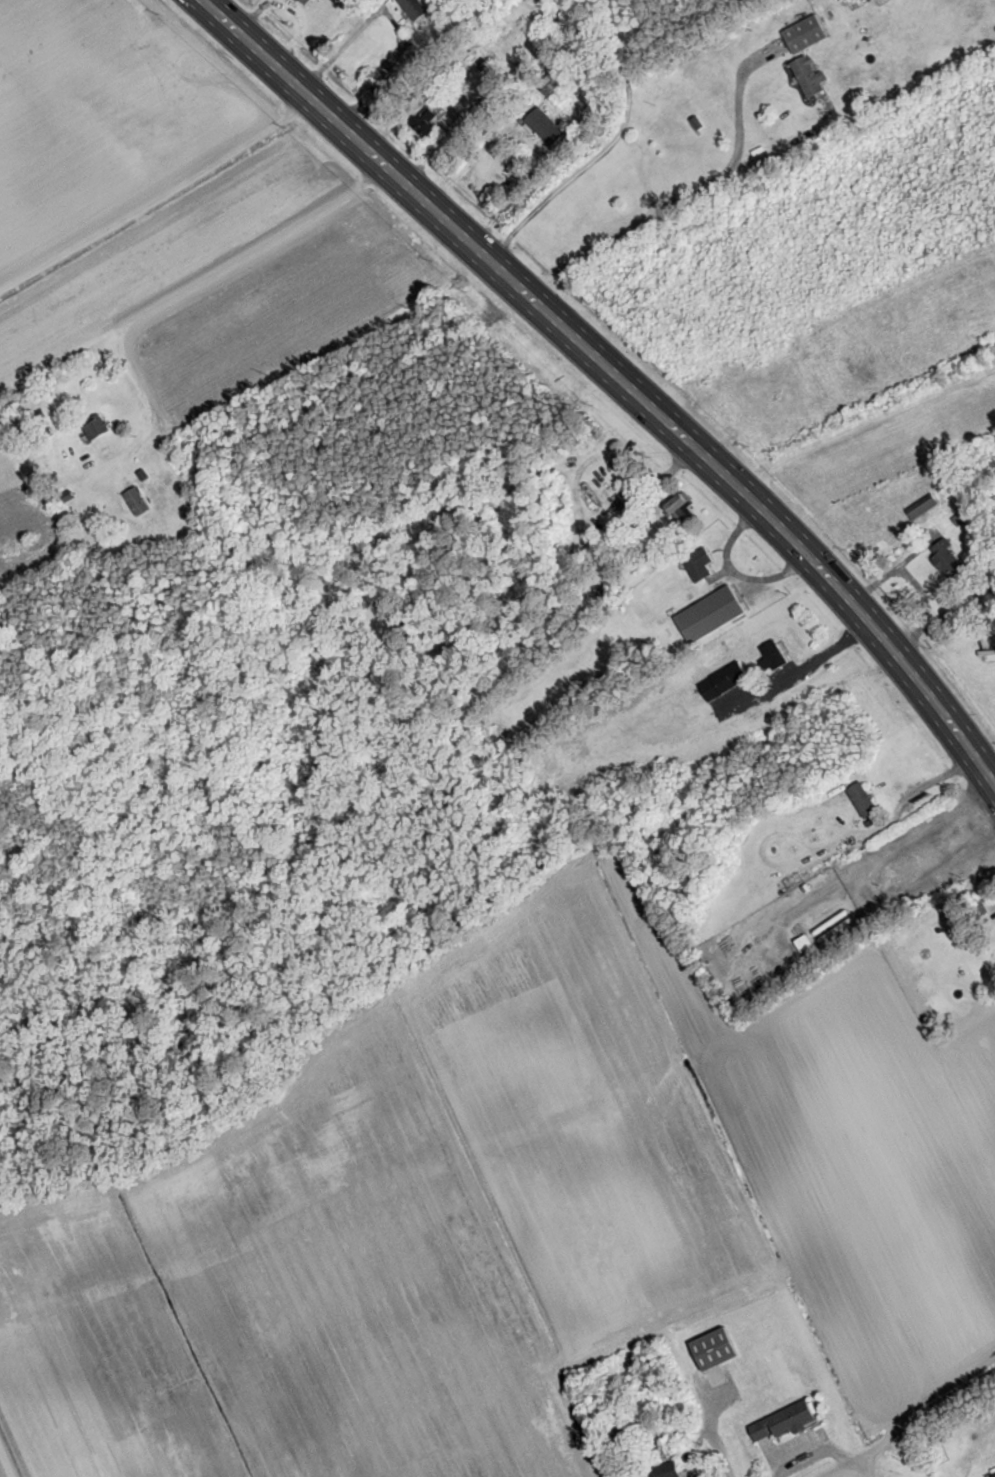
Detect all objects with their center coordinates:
building: (308, 1)
building: (416, 8)
road: (392, 19)
building: (807, 34)
building: (811, 77)
road: (738, 106)
building: (428, 123)
building: (548, 128)
road: (632, 223)
road: (568, 330)
building: (98, 429)
building: (138, 501)
building: (681, 505)
building: (948, 560)
building: (700, 563)
building: (712, 613)
building: (776, 654)
building: (726, 681)
road: (955, 726)
road: (934, 780)
building: (864, 799)
building: (807, 943)
building: (718, 1349)
building: (786, 1422)
road: (913, 1428)
road: (876, 1465)
building: (670, 1470)

